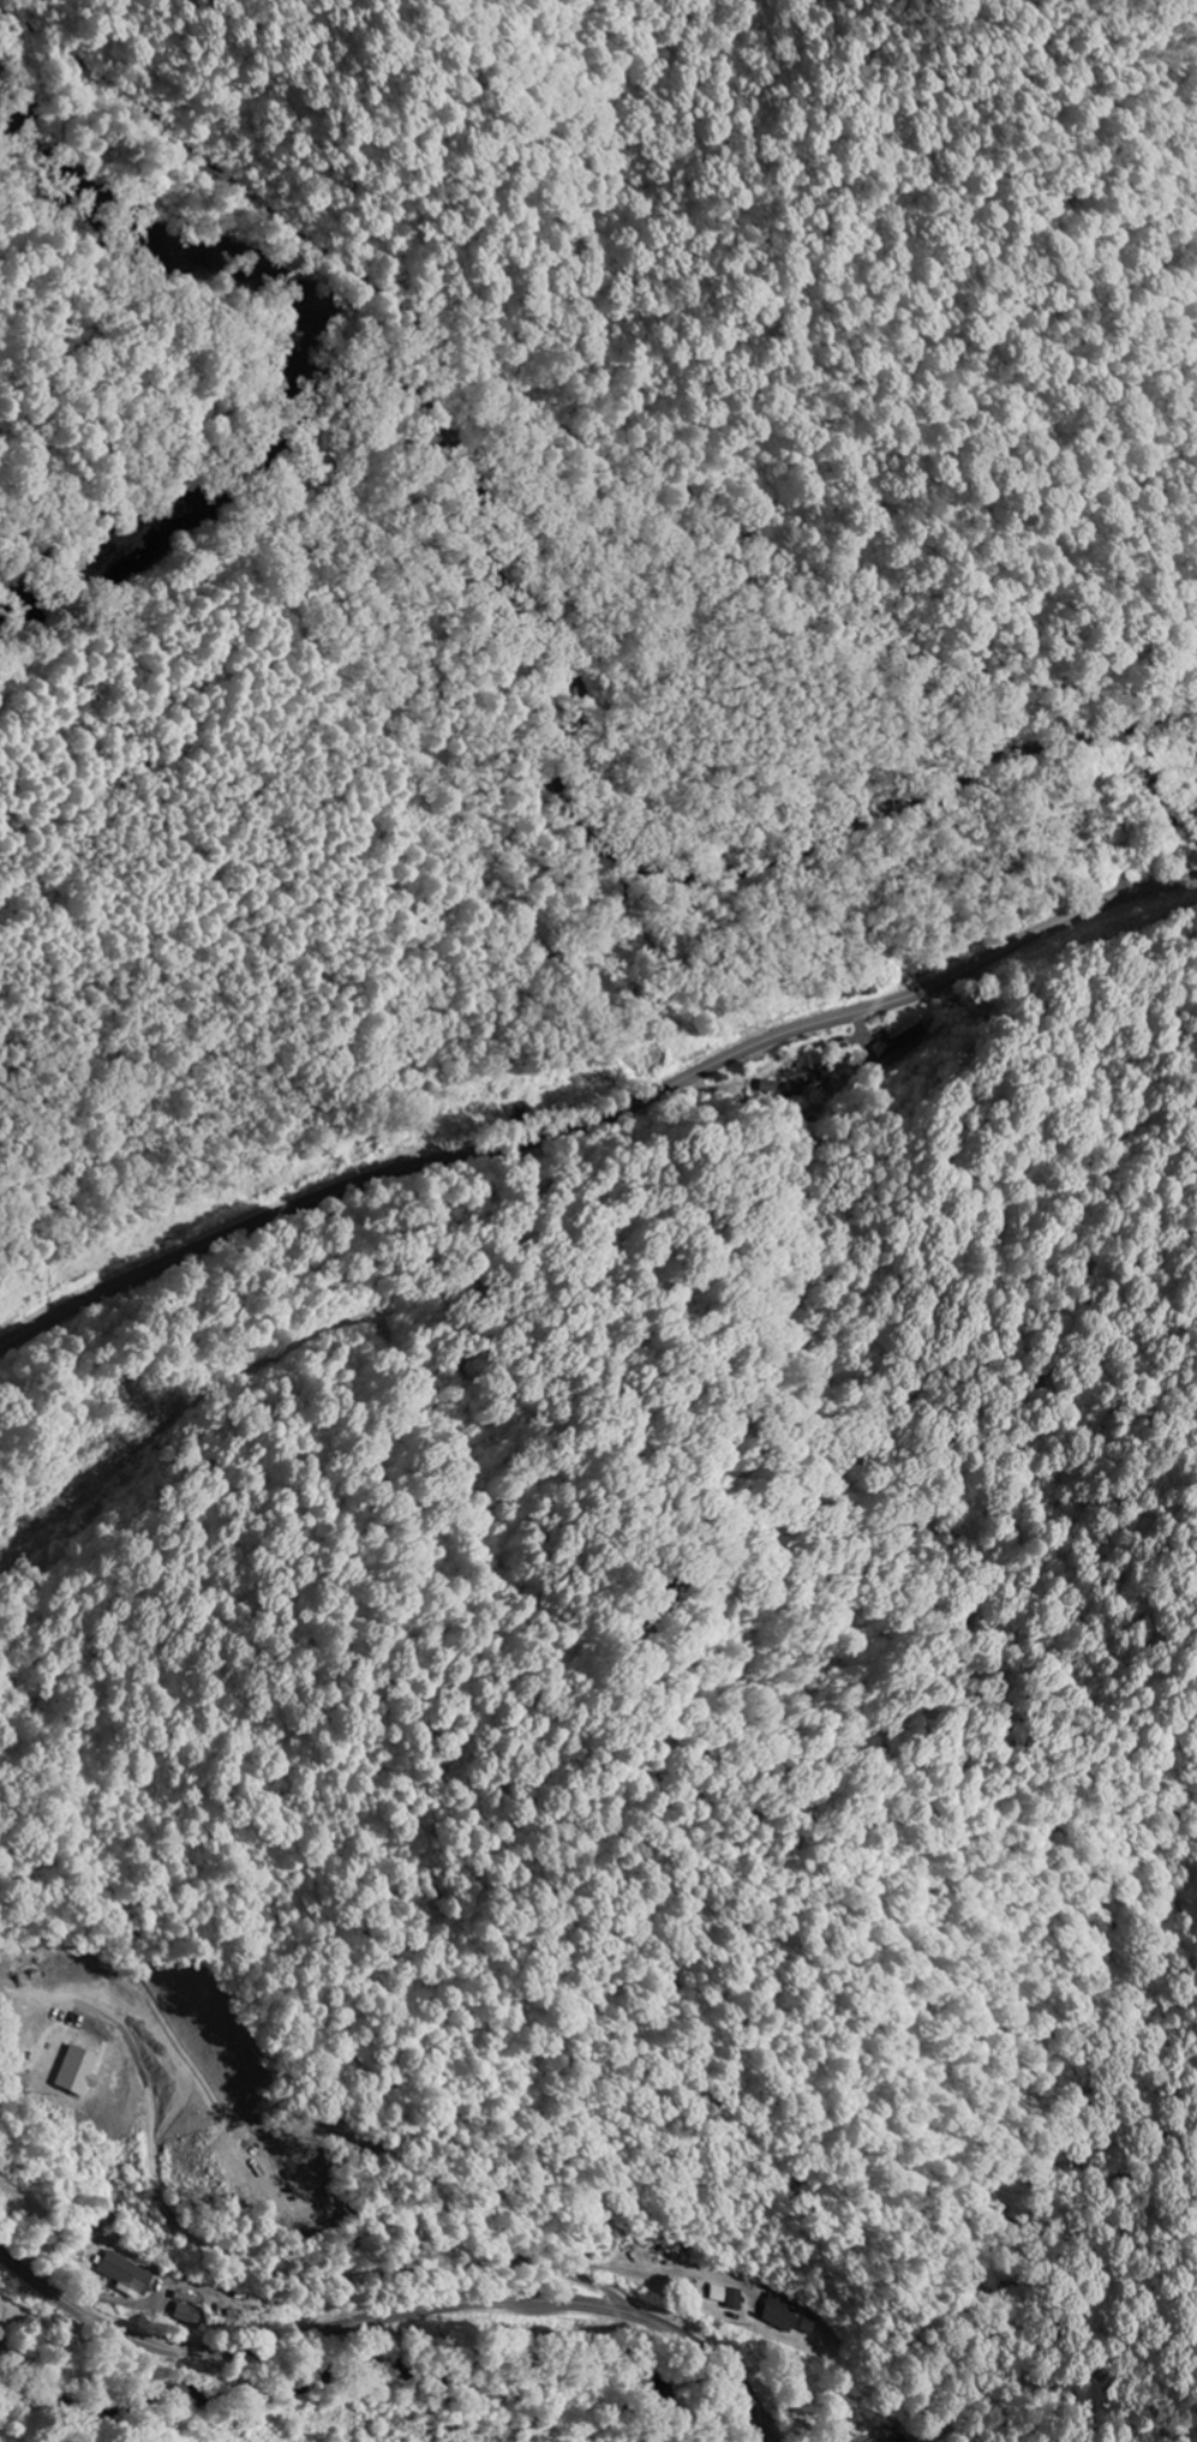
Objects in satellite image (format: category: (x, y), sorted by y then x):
river: (311, 359)
building: (903, 1040)
building: (807, 1072)
road: (599, 1118)
building: (80, 2071)
road: (359, 2267)
building: (131, 2275)
building: (742, 2298)
building: (187, 2314)
building: (785, 2314)
road: (400, 2315)
building: (902, 2438)

